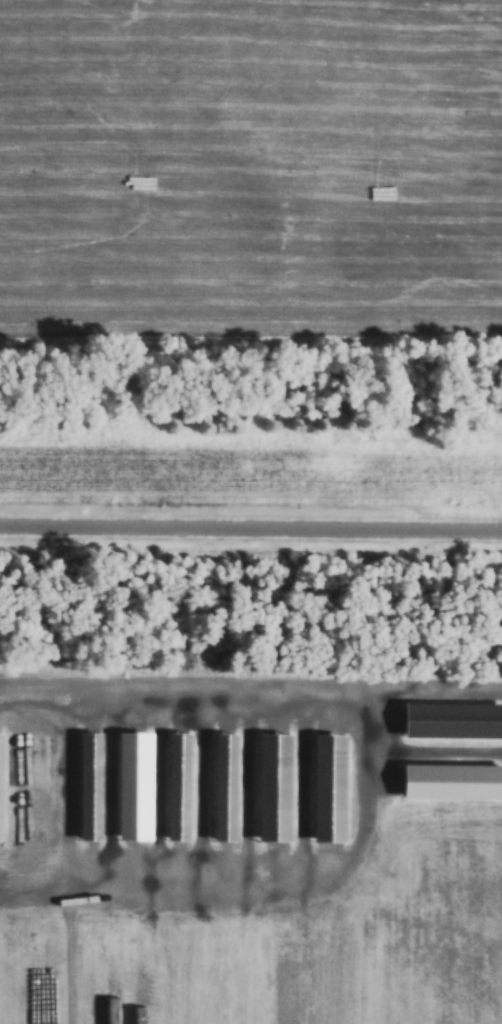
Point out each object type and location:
road: (251, 529)
road: (250, 685)
building: (453, 724)
building: (0, 785)
building: (452, 786)
building: (132, 789)
building: (222, 789)
building: (86, 790)
building: (327, 791)
building: (179, 792)
building: (272, 793)

